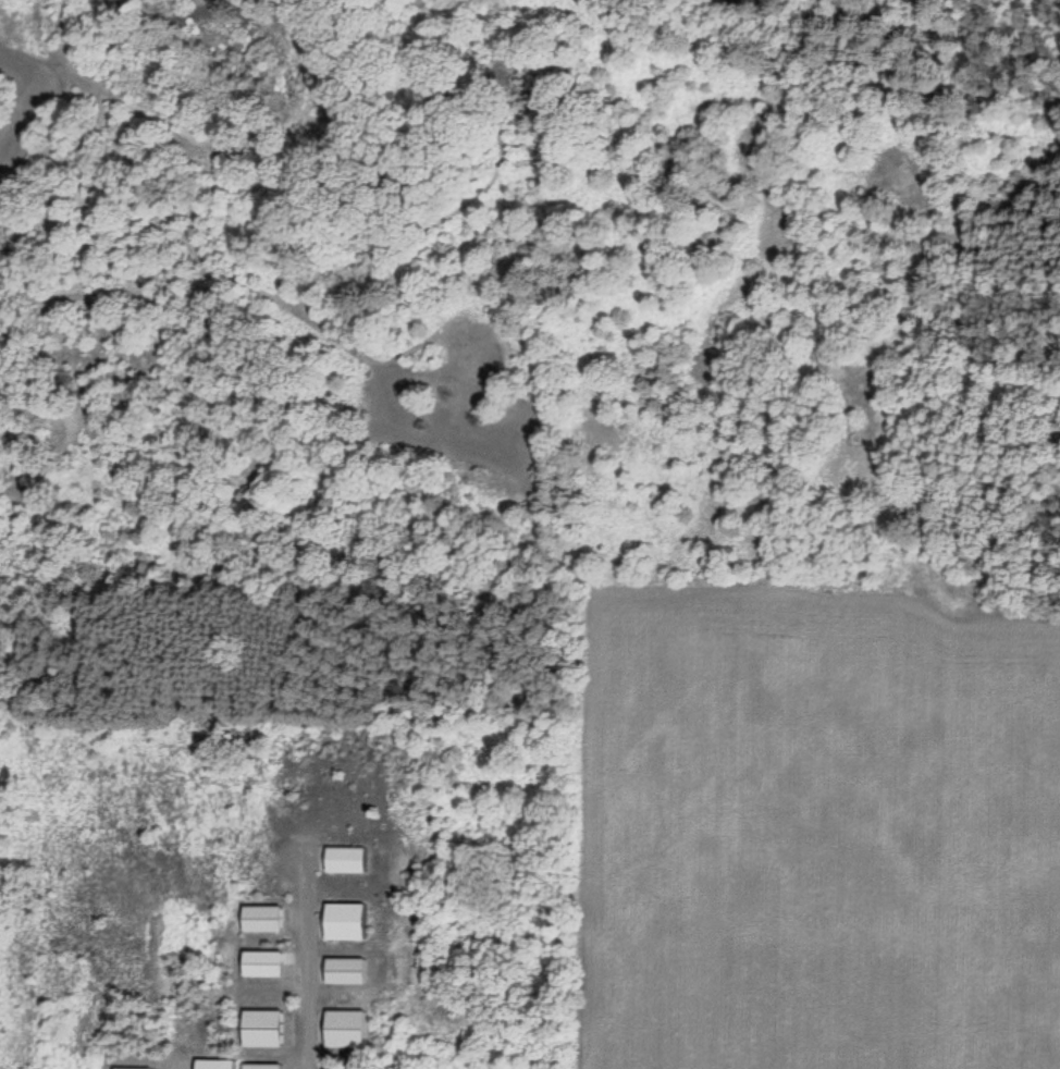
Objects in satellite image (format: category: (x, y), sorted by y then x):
building: (343, 861)
building: (266, 920)
building: (342, 923)
building: (264, 964)
building: (342, 972)
building: (266, 1030)
building: (341, 1030)
building: (215, 1065)
building: (266, 1067)
building: (341, 1067)

